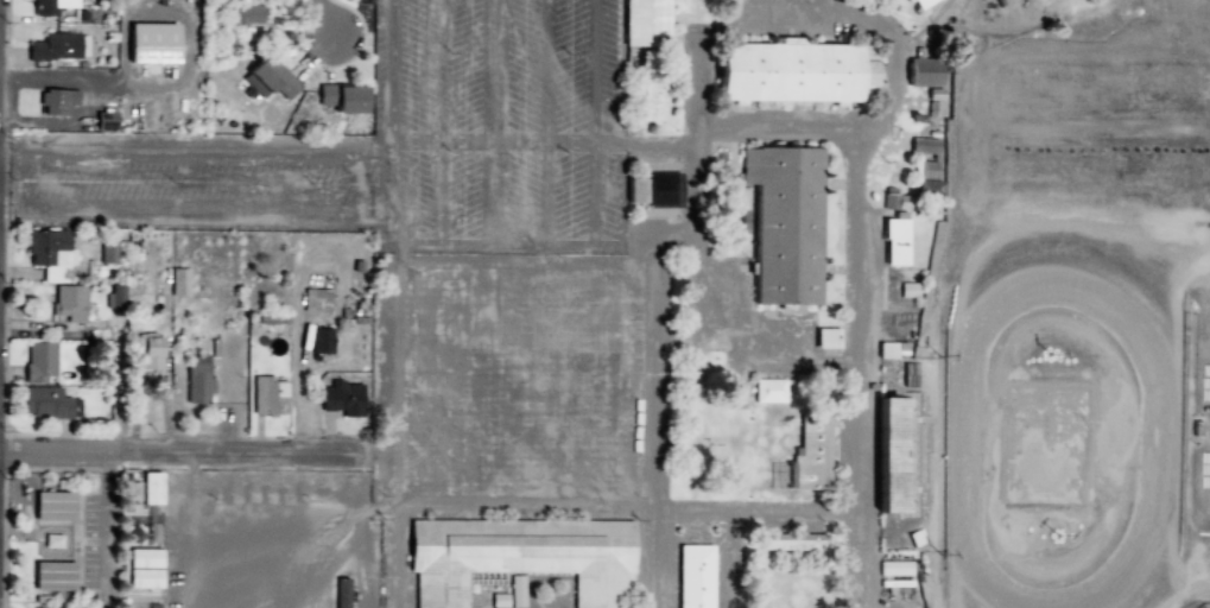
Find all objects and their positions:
building: (918, 2)
road: (817, 5)
building: (47, 6)
building: (246, 19)
building: (644, 21)
road: (328, 25)
railway: (990, 34)
building: (150, 42)
building: (53, 46)
road: (389, 71)
road: (486, 71)
building: (790, 71)
building: (921, 72)
building: (268, 76)
building: (341, 97)
building: (651, 97)
building: (55, 101)
road: (594, 120)
road: (783, 128)
road: (437, 142)
road: (590, 144)
building: (921, 145)
road: (195, 158)
building: (926, 178)
building: (660, 190)
road: (389, 191)
building: (894, 199)
building: (781, 222)
building: (893, 241)
road: (493, 246)
building: (106, 252)
building: (46, 254)
building: (177, 281)
building: (114, 296)
railway: (935, 299)
building: (68, 303)
building: (825, 337)
building: (319, 340)
building: (148, 351)
road: (769, 351)
building: (37, 361)
building: (196, 379)
building: (767, 391)
building: (267, 395)
building: (340, 398)
building: (42, 403)
road: (185, 450)
building: (810, 451)
building: (885, 454)
building: (774, 474)
building: (150, 488)
building: (51, 506)
building: (792, 541)
building: (518, 556)
building: (141, 568)
building: (894, 568)
building: (51, 576)
building: (692, 576)
building: (517, 591)
building: (498, 601)

